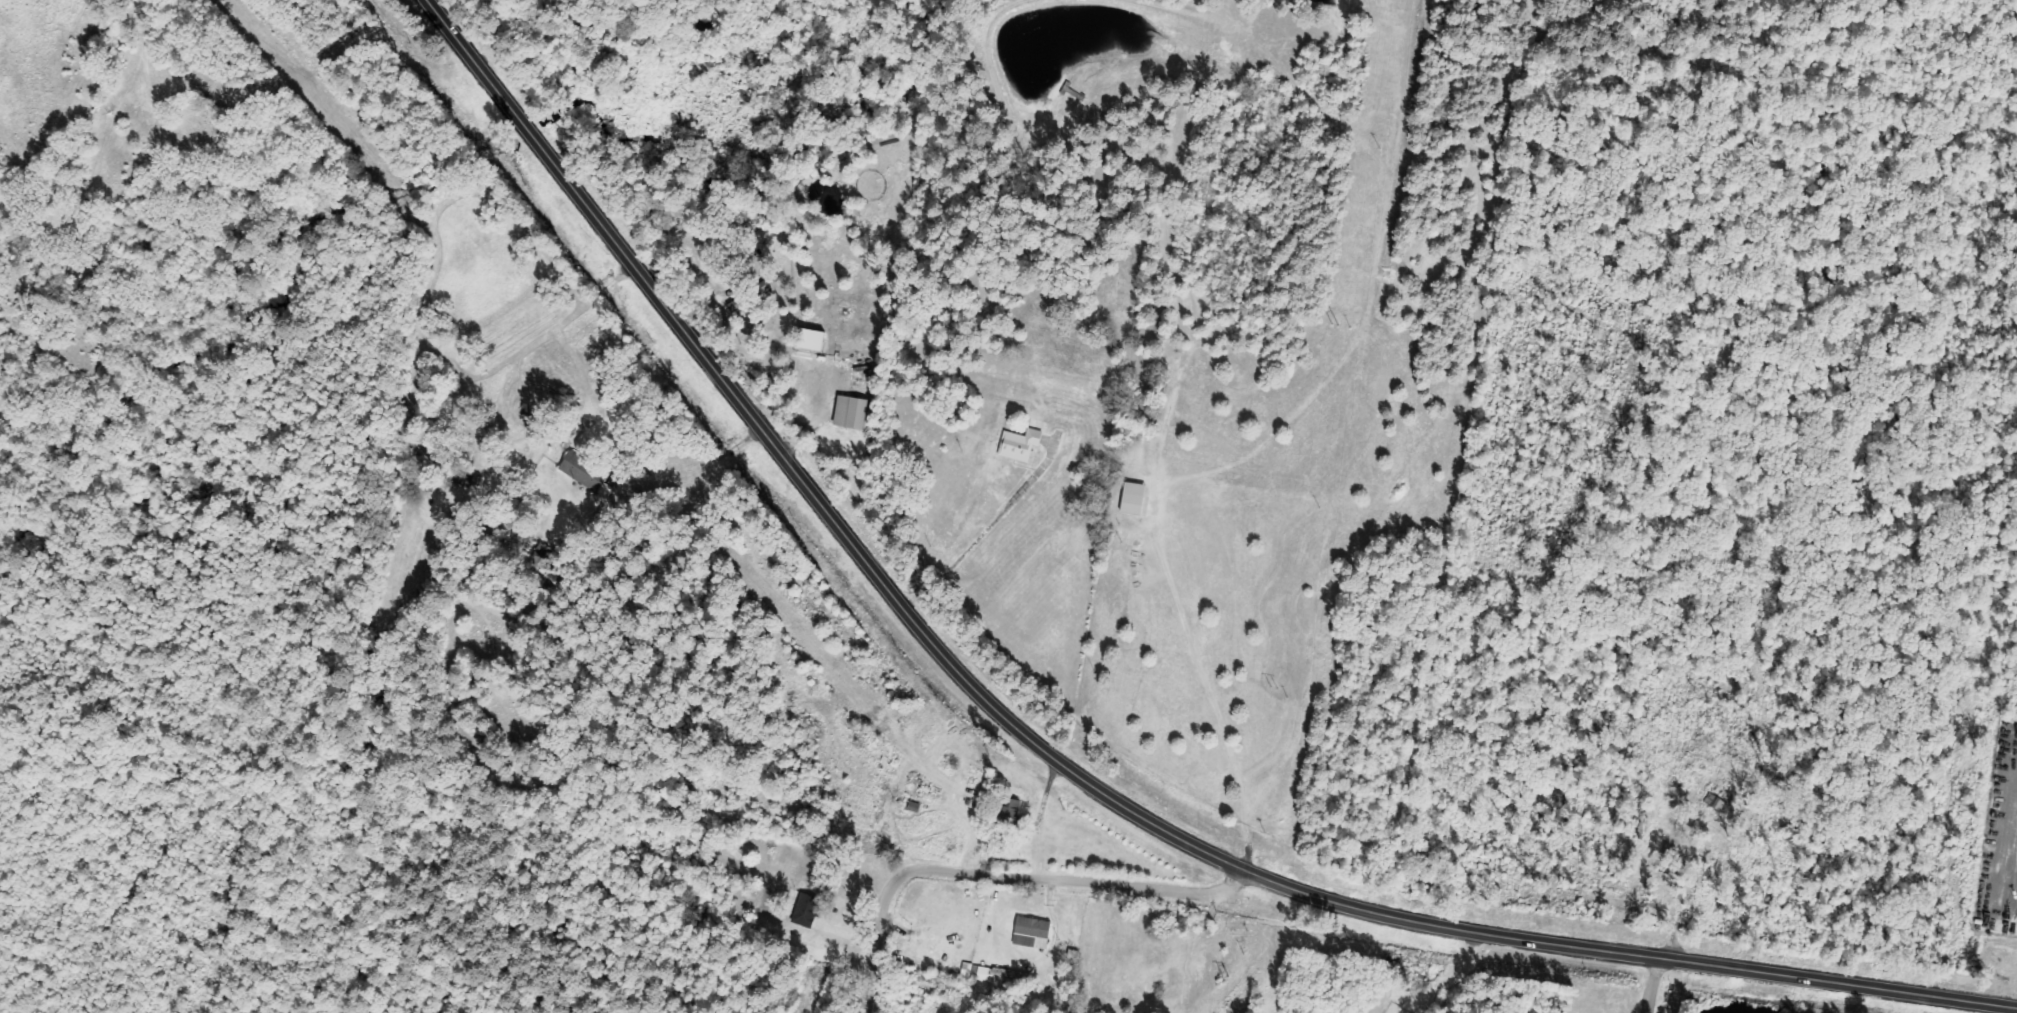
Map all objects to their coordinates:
road: (118, 118)
building: (853, 413)
building: (1022, 445)
building: (578, 467)
building: (1135, 498)
road: (1062, 765)
building: (1716, 802)
building: (1010, 809)
building: (1651, 817)
road: (1004, 880)
building: (809, 911)
building: (1036, 930)
road: (1653, 985)

